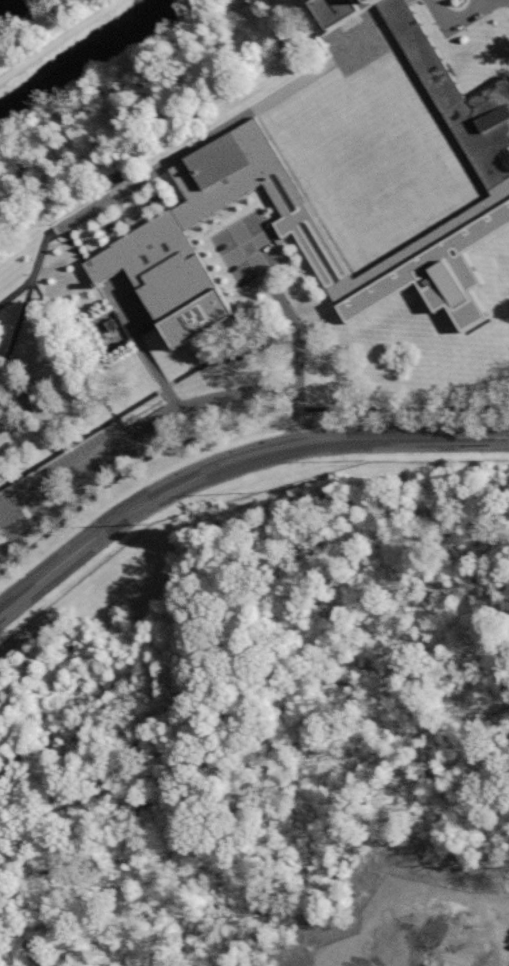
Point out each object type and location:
road: (494, 0)
road: (457, 22)
road: (61, 41)
building: (233, 178)
road: (16, 295)
road: (25, 307)
parking lot: (128, 307)
road: (297, 340)
road: (141, 347)
road: (74, 350)
road: (165, 389)
road: (233, 426)
road: (139, 431)
road: (233, 463)
road: (84, 476)
road: (4, 477)
parking lot: (60, 485)
road: (48, 501)
road: (12, 531)
parking lot: (0, 565)
park: (271, 735)
road: (408, 940)

